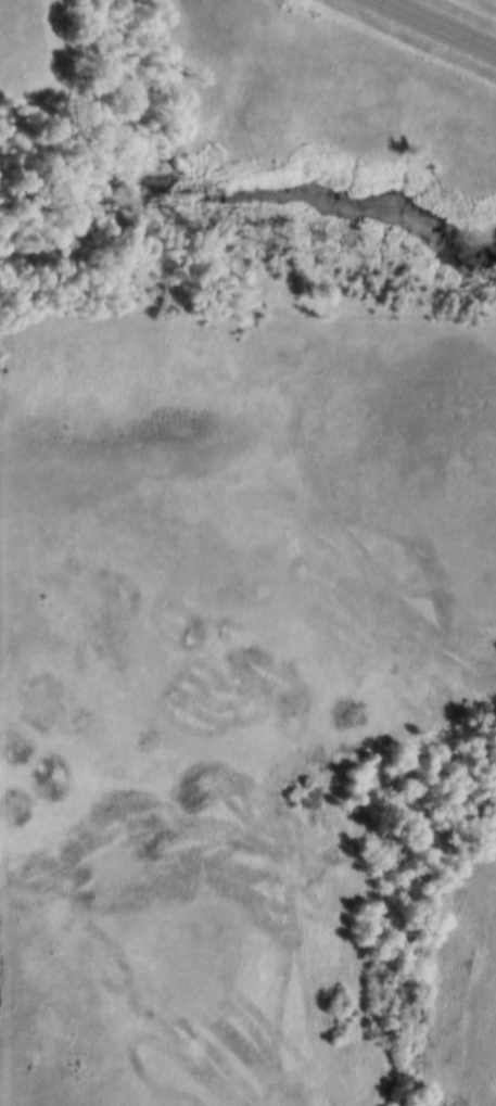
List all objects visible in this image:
road: (440, 26)

